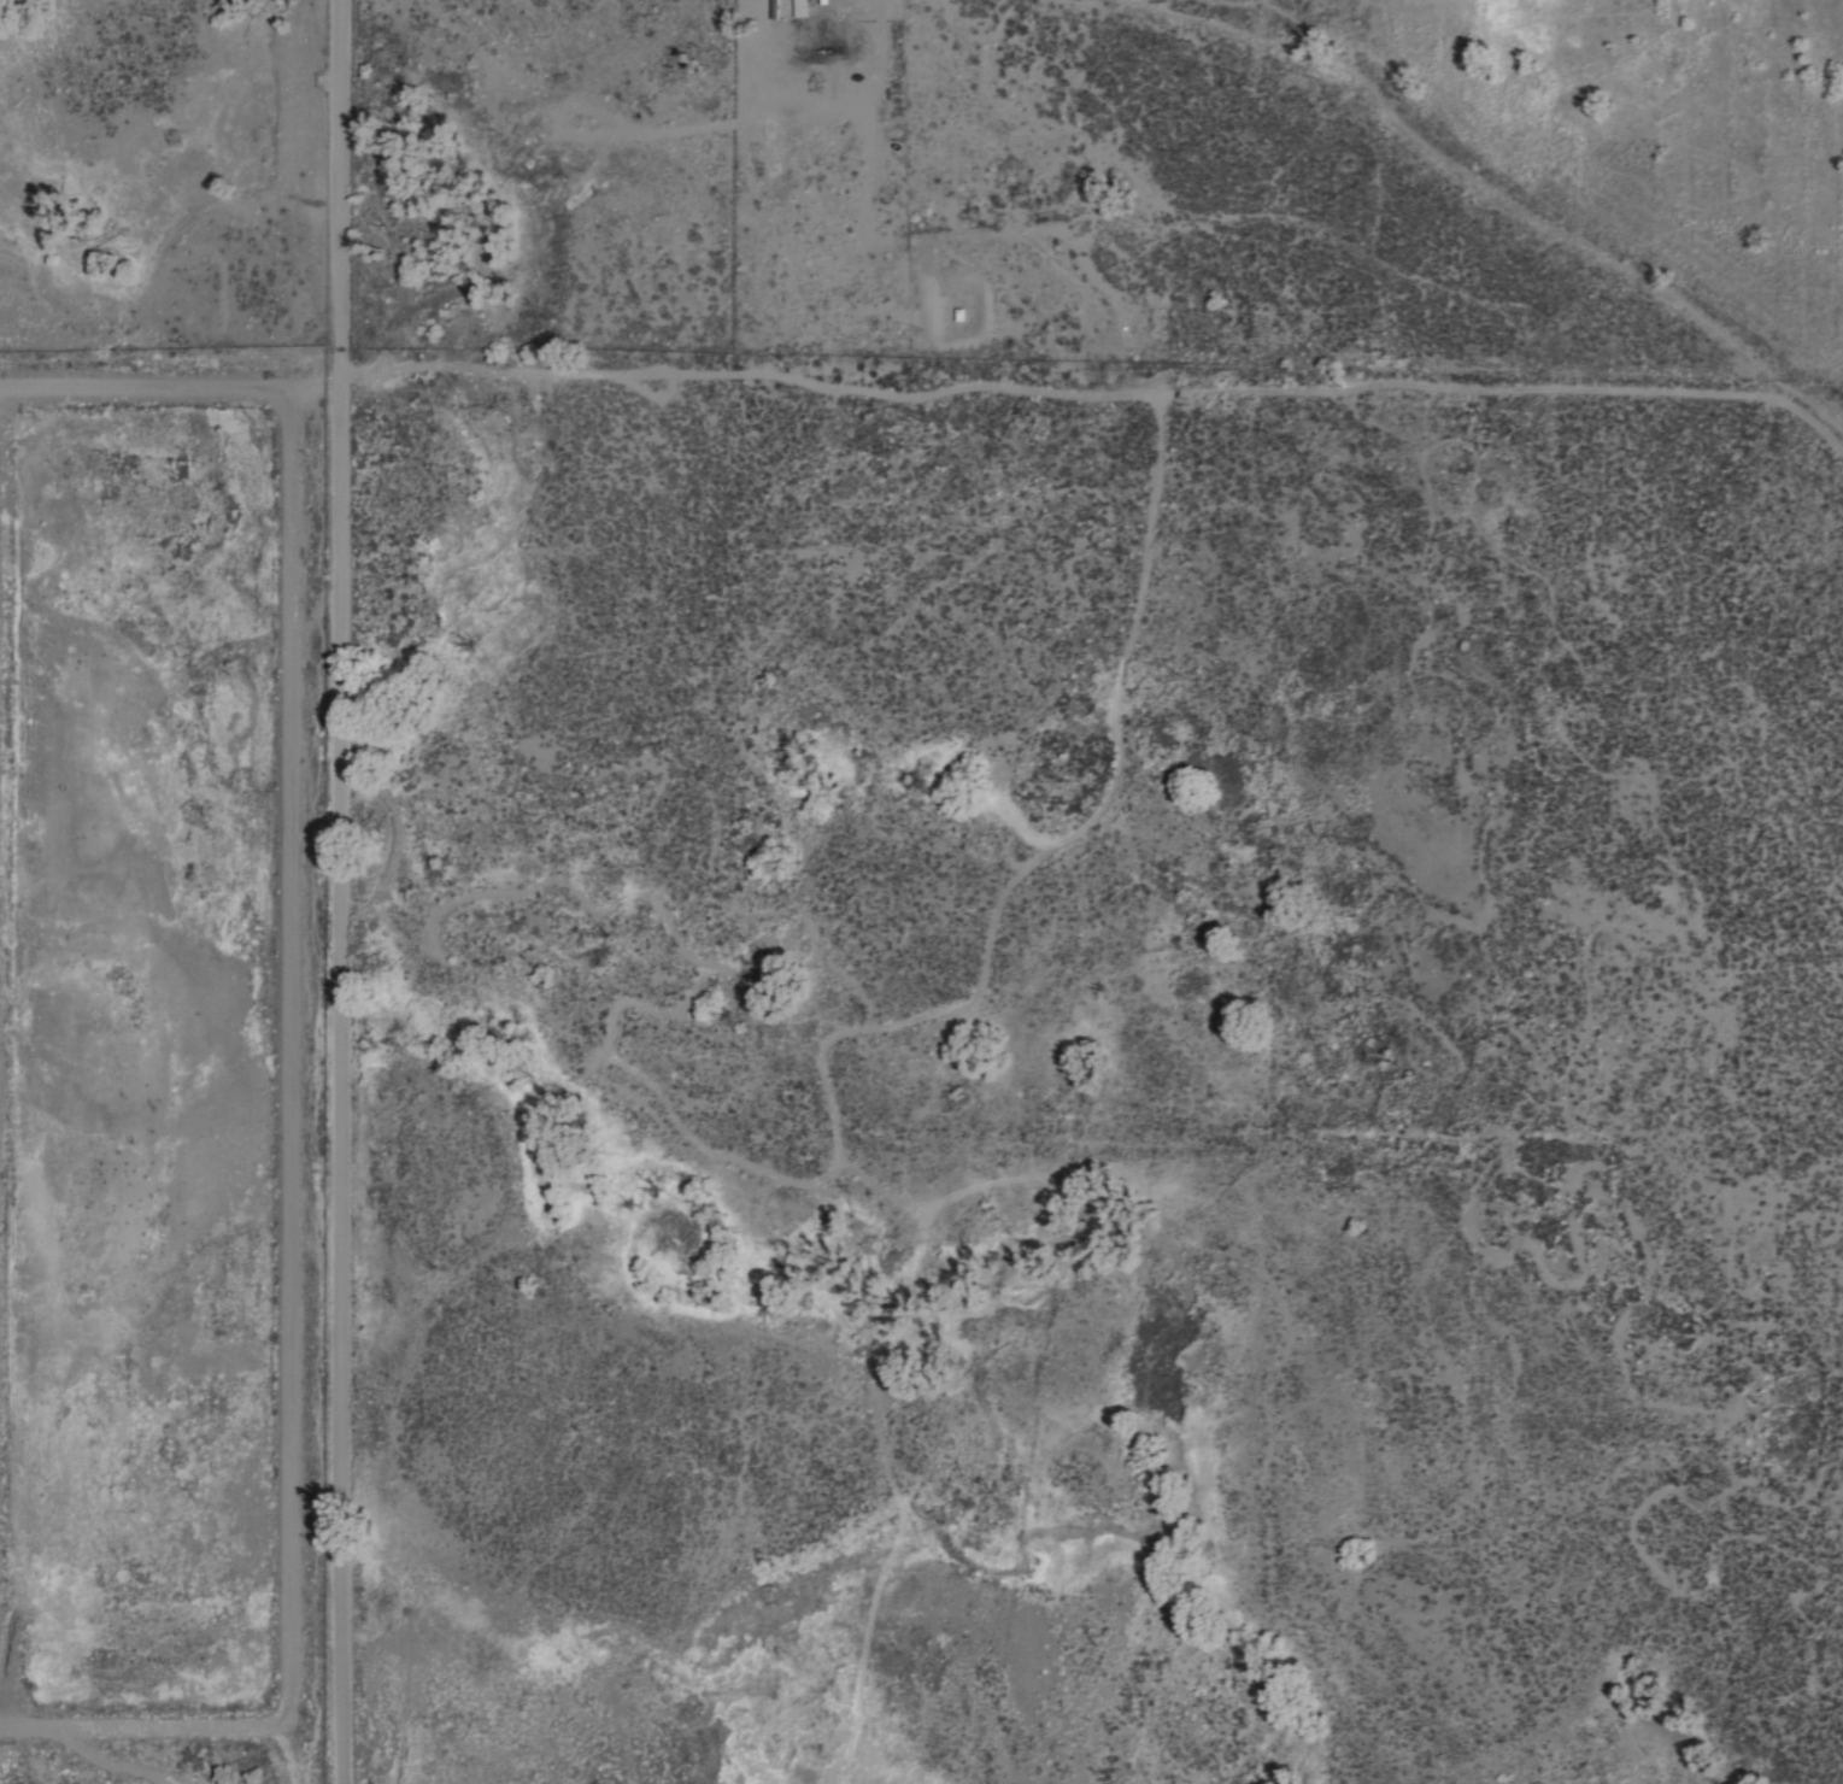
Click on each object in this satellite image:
building: (785, 7)
building: (799, 8)
road: (1103, 393)
road: (347, 891)
wastewater plant: (147, 1099)

